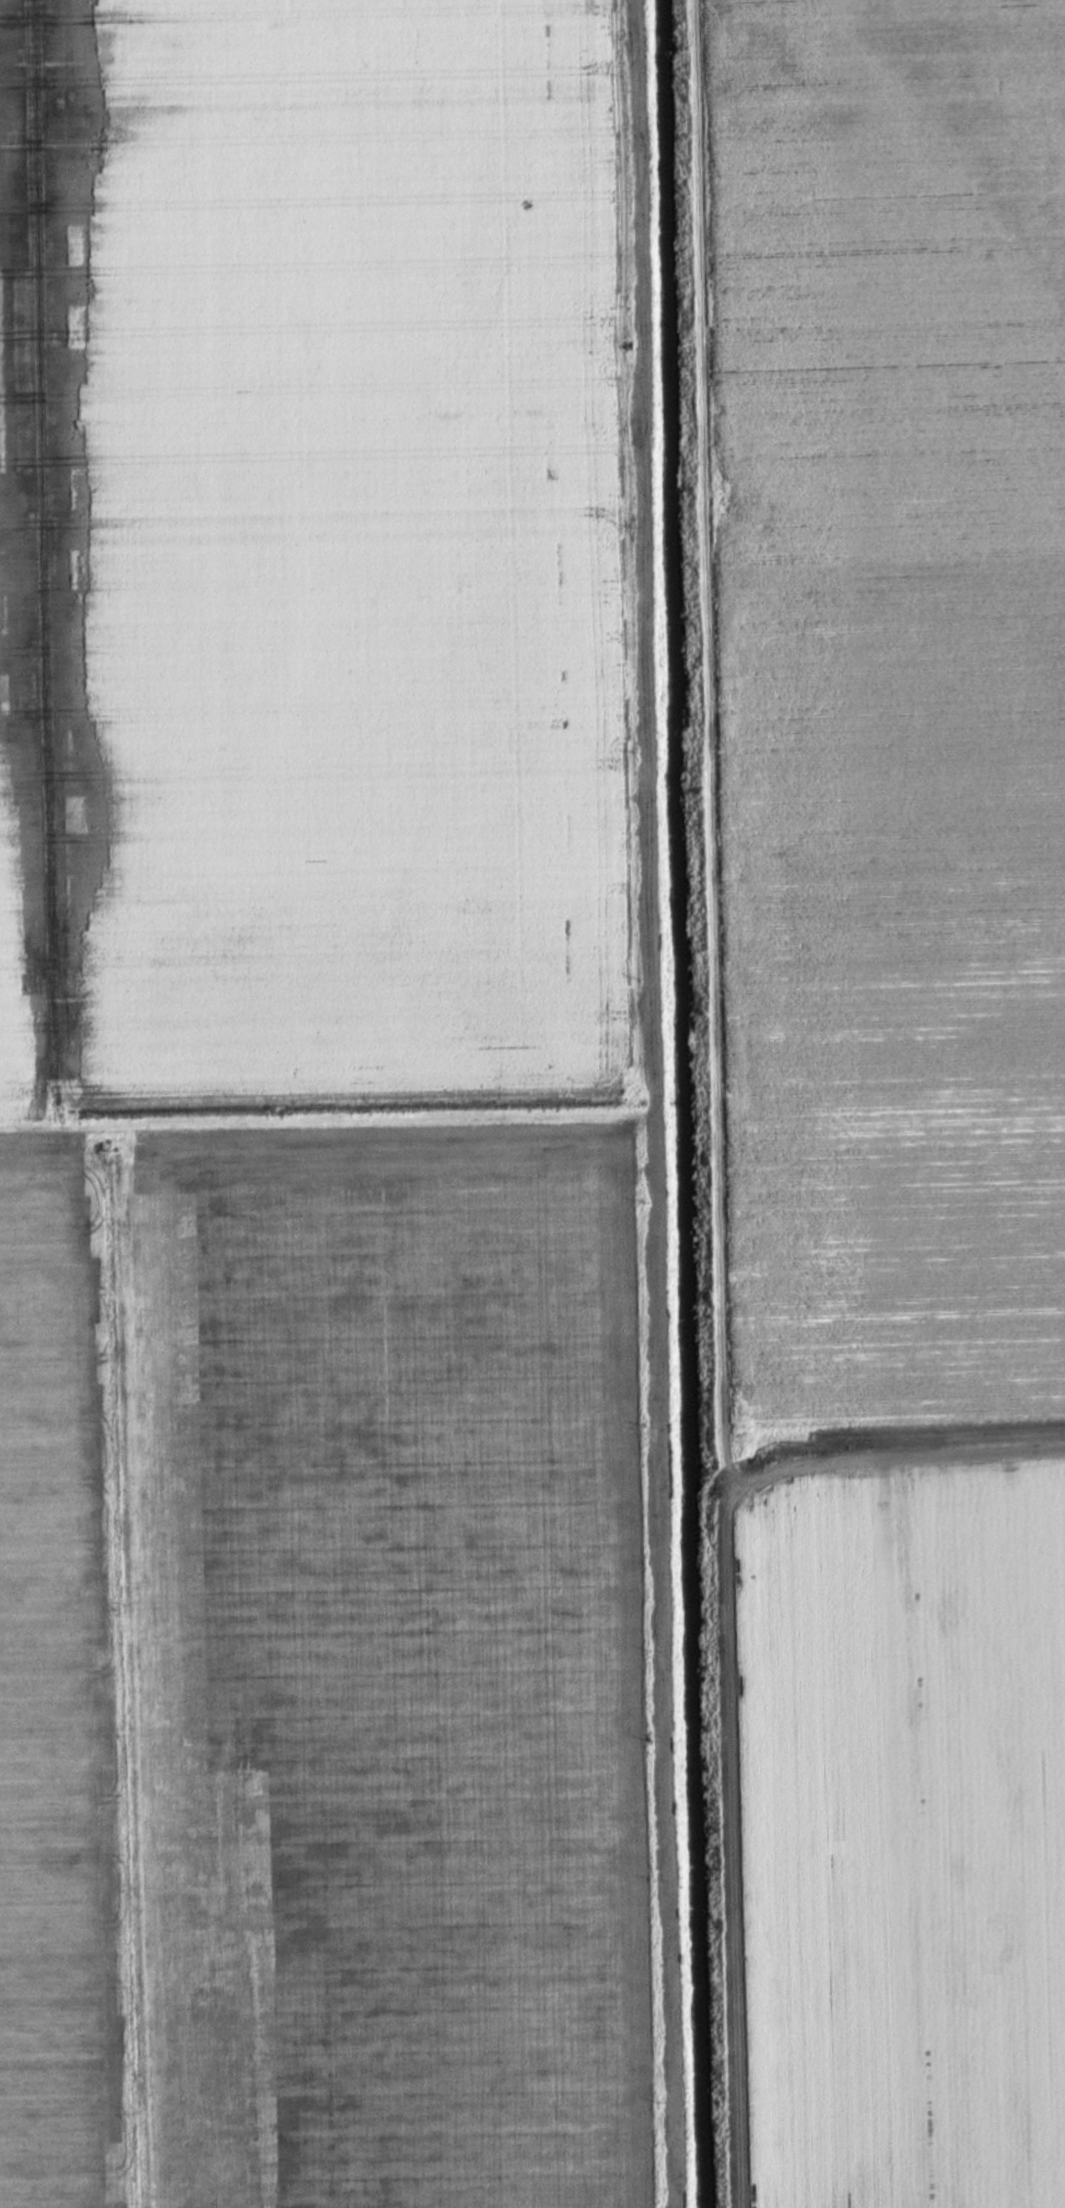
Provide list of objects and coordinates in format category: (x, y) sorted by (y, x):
road: (652, 1104)

